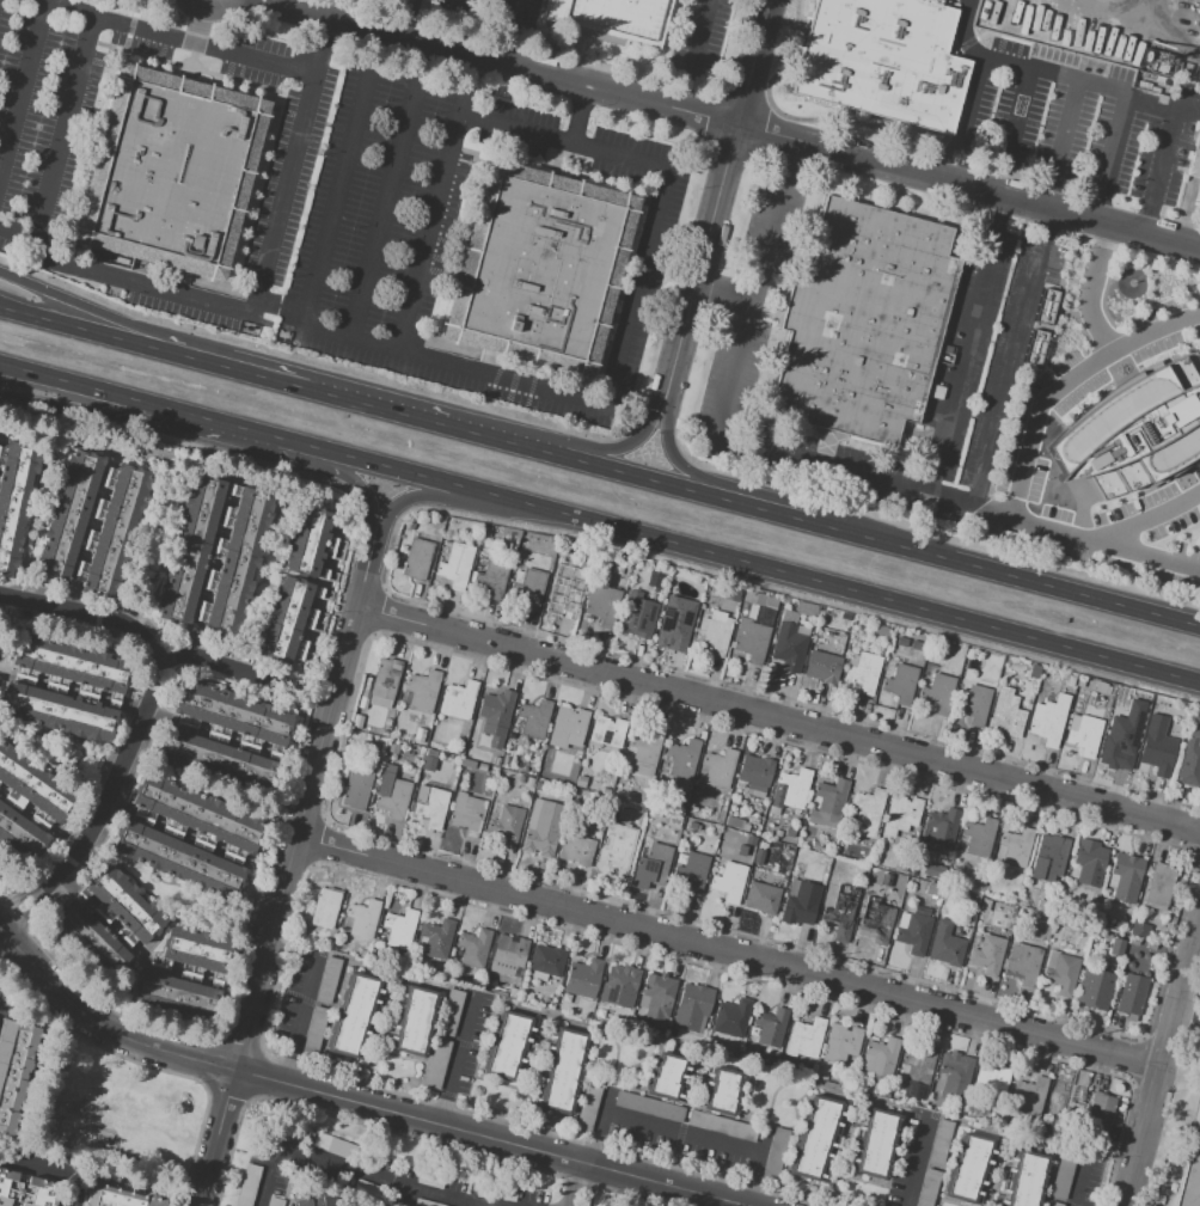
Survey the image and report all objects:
building: (610, 20)
road: (965, 30)
road: (507, 31)
road: (178, 38)
building: (1029, 50)
road: (694, 55)
building: (883, 61)
road: (497, 62)
building: (1076, 62)
road: (1043, 73)
road: (23, 81)
road: (1017, 112)
road: (485, 120)
road: (1115, 140)
road: (1063, 143)
building: (1194, 158)
road: (954, 164)
road: (788, 165)
road: (1158, 167)
building: (172, 170)
road: (284, 182)
road: (722, 183)
road: (968, 186)
road: (386, 190)
building: (1198, 194)
road: (1098, 203)
road: (1000, 215)
road: (1047, 227)
road: (428, 232)
building: (538, 267)
road: (127, 280)
road: (1090, 289)
building: (1046, 296)
road: (721, 306)
building: (863, 322)
parking lot: (1193, 327)
road: (151, 333)
road: (153, 344)
building: (1034, 344)
road: (962, 368)
road: (497, 377)
road: (1005, 378)
road: (422, 415)
road: (127, 416)
building: (1134, 429)
road: (629, 446)
road: (737, 446)
road: (1022, 467)
road: (711, 480)
road: (356, 483)
parking lot: (975, 490)
building: (14, 500)
road: (473, 503)
road: (1147, 520)
building: (90, 524)
building: (409, 525)
road: (599, 525)
building: (485, 532)
road: (869, 535)
building: (306, 541)
building: (214, 556)
building: (417, 558)
building: (455, 564)
building: (518, 577)
building: (491, 578)
building: (528, 588)
building: (421, 592)
building: (731, 593)
building: (564, 596)
building: (600, 600)
building: (709, 600)
building: (767, 601)
building: (798, 612)
building: (637, 616)
building: (764, 617)
building: (292, 619)
building: (678, 624)
building: (749, 631)
building: (715, 633)
building: (883, 642)
building: (901, 642)
building: (789, 645)
building: (916, 645)
building: (821, 666)
road: (226, 667)
building: (862, 671)
building: (1034, 672)
building: (1063, 679)
building: (1070, 681)
building: (1079, 682)
building: (901, 684)
building: (379, 685)
building: (68, 688)
building: (1101, 688)
building: (421, 692)
building: (938, 693)
building: (458, 700)
road: (310, 702)
building: (974, 704)
building: (1005, 715)
building: (495, 718)
road: (778, 718)
building: (534, 720)
building: (1049, 720)
building: (386, 722)
road: (139, 728)
building: (568, 728)
building: (607, 730)
building: (384, 734)
building: (1083, 734)
building: (418, 736)
building: (224, 737)
building: (1120, 742)
building: (1156, 749)
building: (455, 752)
building: (643, 752)
building: (1190, 755)
building: (449, 758)
building: (429, 759)
building: (682, 759)
building: (507, 760)
building: (495, 761)
building: (469, 764)
building: (482, 767)
building: (535, 767)
building: (522, 769)
building: (718, 769)
building: (754, 775)
building: (521, 779)
building: (581, 780)
building: (537, 786)
building: (355, 788)
building: (594, 788)
building: (791, 790)
building: (605, 791)
building: (575, 792)
building: (586, 795)
building: (392, 797)
building: (641, 800)
building: (827, 804)
building: (29, 806)
building: (430, 806)
building: (757, 809)
road: (302, 813)
building: (864, 813)
building: (467, 815)
building: (901, 815)
building: (753, 821)
building: (674, 822)
building: (507, 824)
building: (736, 824)
building: (692, 826)
building: (941, 826)
building: (543, 828)
building: (789, 832)
building: (186, 837)
building: (979, 837)
building: (806, 840)
building: (767, 844)
building: (749, 845)
building: (577, 846)
building: (777, 846)
building: (1016, 846)
building: (618, 847)
building: (1052, 850)
building: (1090, 855)
building: (651, 867)
building: (899, 869)
building: (932, 870)
building: (691, 871)
building: (755, 876)
building: (1125, 877)
building: (886, 880)
building: (729, 881)
building: (939, 881)
building: (1159, 886)
building: (932, 890)
building: (343, 895)
building: (950, 895)
building: (761, 898)
building: (1014, 899)
building: (971, 901)
building: (800, 902)
building: (1040, 902)
building: (984, 905)
building: (325, 908)
building: (1091, 910)
building: (841, 911)
building: (922, 911)
building: (110, 916)
building: (363, 919)
building: (875, 920)
building: (1060, 922)
building: (1122, 926)
building: (399, 930)
building: (1139, 930)
building: (912, 931)
road: (2, 933)
building: (1084, 935)
building: (436, 938)
building: (421, 943)
building: (945, 945)
building: (1115, 947)
building: (475, 949)
building: (361, 953)
road: (729, 954)
building: (507, 955)
building: (986, 955)
building: (454, 956)
building: (546, 962)
building: (1022, 962)
building: (186, 968)
building: (1060, 971)
road: (1194, 974)
building: (583, 979)
building: (327, 980)
building: (715, 984)
building: (622, 987)
building: (1095, 990)
building: (500, 993)
building: (513, 993)
building: (1131, 994)
building: (527, 997)
building: (565, 998)
building: (654, 999)
building: (692, 1008)
building: (452, 1014)
building: (353, 1015)
building: (731, 1017)
building: (414, 1020)
road: (298, 1023)
building: (771, 1027)
building: (314, 1030)
building: (753, 1031)
building: (656, 1033)
building: (672, 1033)
building: (804, 1039)
building: (840, 1043)
building: (507, 1045)
building: (735, 1053)
building: (880, 1058)
road: (455, 1060)
building: (779, 1060)
building: (437, 1065)
road: (1163, 1065)
building: (918, 1066)
building: (16, 1069)
building: (561, 1070)
building: (667, 1076)
building: (822, 1077)
building: (954, 1077)
building: (997, 1082)
building: (721, 1091)
building: (1028, 1096)
building: (932, 1097)
building: (920, 1100)
building: (1066, 1100)
road: (353, 1102)
building: (588, 1106)
building: (649, 1107)
building: (1101, 1109)
park: (115, 1113)
building: (722, 1126)
road: (680, 1131)
building: (814, 1138)
road: (218, 1139)
building: (874, 1143)
building: (938, 1143)
building: (775, 1155)
road: (912, 1164)
building: (966, 1168)
road: (48, 1170)
road: (361, 1171)
building: (1193, 1177)
building: (1025, 1179)
parking lot: (371, 1180)
building: (1060, 1180)
road: (323, 1181)
road: (580, 1184)
road: (1077, 1186)
building: (927, 1187)
building: (27, 1190)
building: (116, 1195)
road: (692, 1199)
building: (331, 1200)
road: (355, 1200)
building: (300, 1202)
building: (424, 1202)
building: (1053, 1204)
road: (486, 1205)

